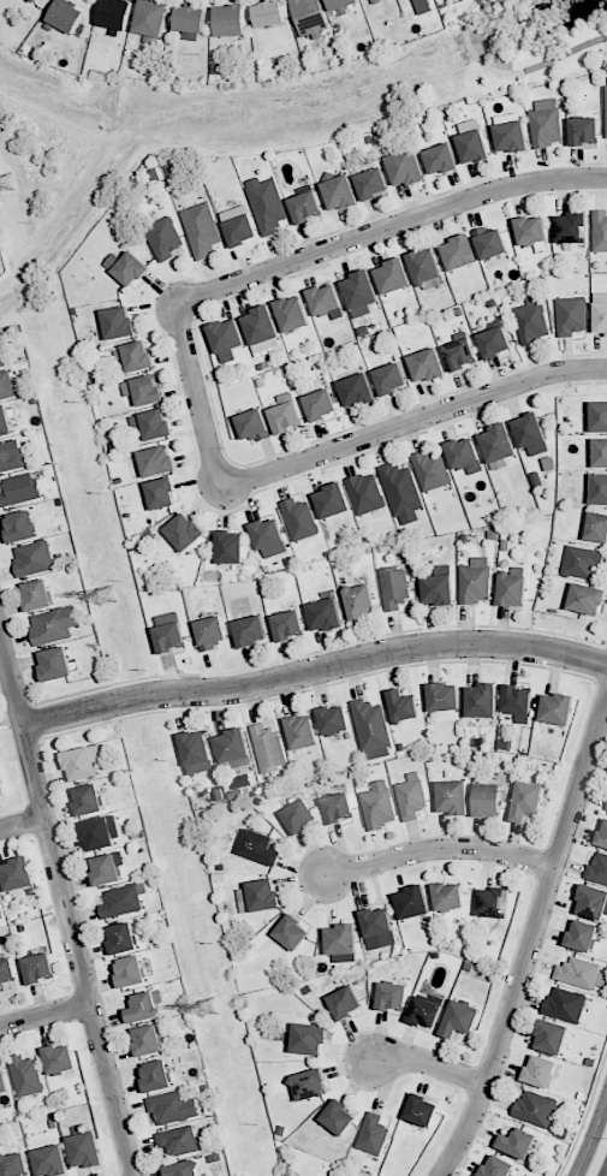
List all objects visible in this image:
building: (37, 0)
building: (31, 1)
building: (377, 1)
road: (475, 1)
building: (346, 4)
building: (422, 6)
building: (69, 16)
building: (118, 16)
building: (272, 16)
building: (311, 17)
building: (154, 20)
building: (234, 20)
building: (194, 22)
park: (524, 43)
road: (512, 72)
building: (606, 102)
building: (547, 123)
building: (587, 130)
building: (514, 136)
building: (474, 142)
building: (444, 159)
building: (407, 167)
building: (374, 183)
power tower: (8, 184)
building: (343, 191)
building: (268, 206)
building: (308, 206)
building: (240, 224)
building: (576, 226)
road: (388, 228)
building: (203, 230)
building: (601, 230)
building: (536, 231)
building: (166, 237)
building: (493, 242)
building: (463, 251)
building: (426, 265)
building: (130, 266)
building: (397, 274)
building: (364, 287)
building: (327, 297)
building: (293, 313)
building: (572, 315)
building: (602, 316)
building: (532, 320)
building: (120, 321)
building: (263, 323)
building: (228, 334)
building: (498, 341)
building: (463, 354)
building: (137, 355)
building: (432, 364)
building: (393, 378)
building: (6, 384)
building: (147, 390)
building: (361, 390)
road: (200, 398)
building: (323, 404)
building: (287, 416)
building: (600, 416)
building: (6, 421)
road: (412, 422)
building: (256, 423)
building: (154, 424)
building: (534, 434)
building: (501, 443)
building: (601, 452)
building: (464, 453)
building: (13, 456)
building: (159, 461)
building: (433, 470)
building: (401, 488)
building: (600, 488)
building: (20, 489)
building: (163, 492)
building: (365, 493)
building: (335, 499)
building: (302, 518)
building: (599, 524)
building: (22, 528)
building: (186, 530)
building: (270, 537)
building: (232, 546)
building: (35, 559)
building: (583, 562)
building: (477, 581)
building: (394, 586)
building: (441, 587)
building: (514, 588)
building: (40, 596)
power tower: (107, 596)
building: (589, 598)
building: (362, 599)
building: (328, 612)
building: (291, 624)
building: (55, 625)
building: (252, 630)
building: (213, 631)
building: (171, 632)
building: (56, 664)
road: (314, 673)
building: (445, 696)
building: (484, 700)
building: (519, 701)
building: (405, 706)
building: (559, 707)
building: (335, 720)
building: (373, 725)
building: (304, 731)
building: (236, 744)
building: (196, 748)
building: (268, 748)
building: (84, 762)
building: (2, 783)
building: (456, 797)
building: (412, 798)
building: (490, 798)
building: (90, 801)
building: (528, 801)
building: (340, 807)
building: (380, 808)
building: (302, 815)
road: (23, 825)
building: (102, 832)
building: (602, 837)
building: (262, 847)
road: (440, 850)
building: (599, 868)
building: (107, 871)
building: (19, 873)
building: (267, 896)
building: (450, 897)
building: (0, 899)
building: (594, 901)
building: (121, 902)
building: (496, 902)
building: (415, 903)
road: (67, 907)
building: (380, 925)
building: (293, 931)
building: (584, 936)
building: (124, 939)
building: (344, 939)
road: (532, 945)
building: (40, 968)
building: (7, 973)
building: (133, 973)
building: (578, 973)
building: (395, 997)
building: (347, 1002)
building: (565, 1006)
building: (145, 1008)
power tower: (209, 1008)
building: (427, 1012)
road: (46, 1017)
building: (462, 1017)
building: (554, 1035)
building: (311, 1038)
building: (150, 1041)
building: (61, 1058)
road: (430, 1065)
building: (542, 1070)
building: (26, 1076)
building: (160, 1076)
building: (5, 1079)
building: (313, 1083)
building: (169, 1106)
building: (536, 1109)
building: (423, 1110)
building: (340, 1117)
building: (374, 1134)
road: (591, 1135)
street lamp: (605, 1138)
building: (183, 1142)
building: (519, 1144)
building: (88, 1150)
building: (53, 1162)
building: (16, 1164)
building: (500, 1168)
building: (185, 1169)
road: (606, 1174)

